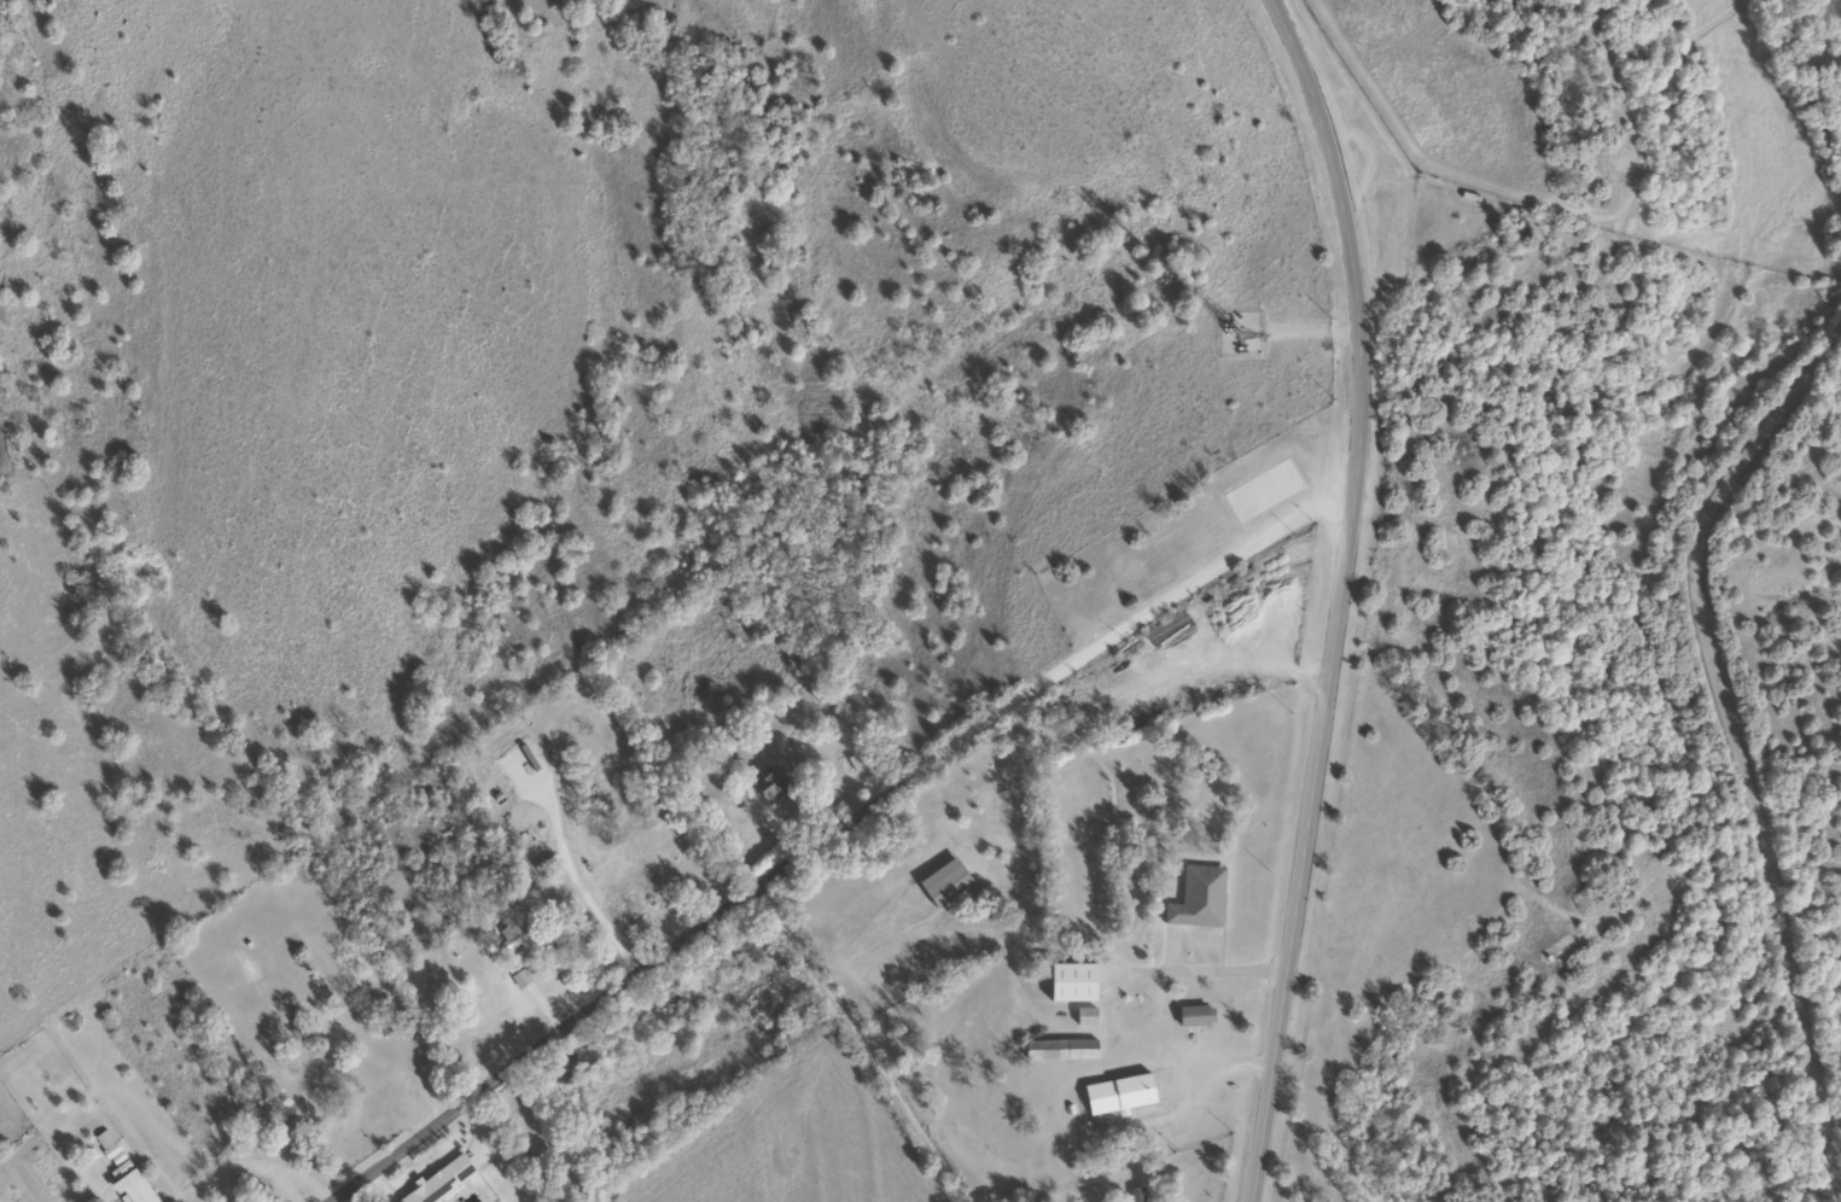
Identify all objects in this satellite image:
building: (1252, 501)
road: (1341, 596)
building: (1167, 631)
road: (1685, 718)
road: (893, 752)
building: (769, 784)
building: (943, 883)
building: (1196, 899)
building: (511, 935)
building: (1067, 984)
building: (1193, 1016)
road: (831, 1040)
building: (1058, 1050)
building: (1115, 1095)
road: (388, 1139)
building: (126, 1181)
building: (438, 1181)

